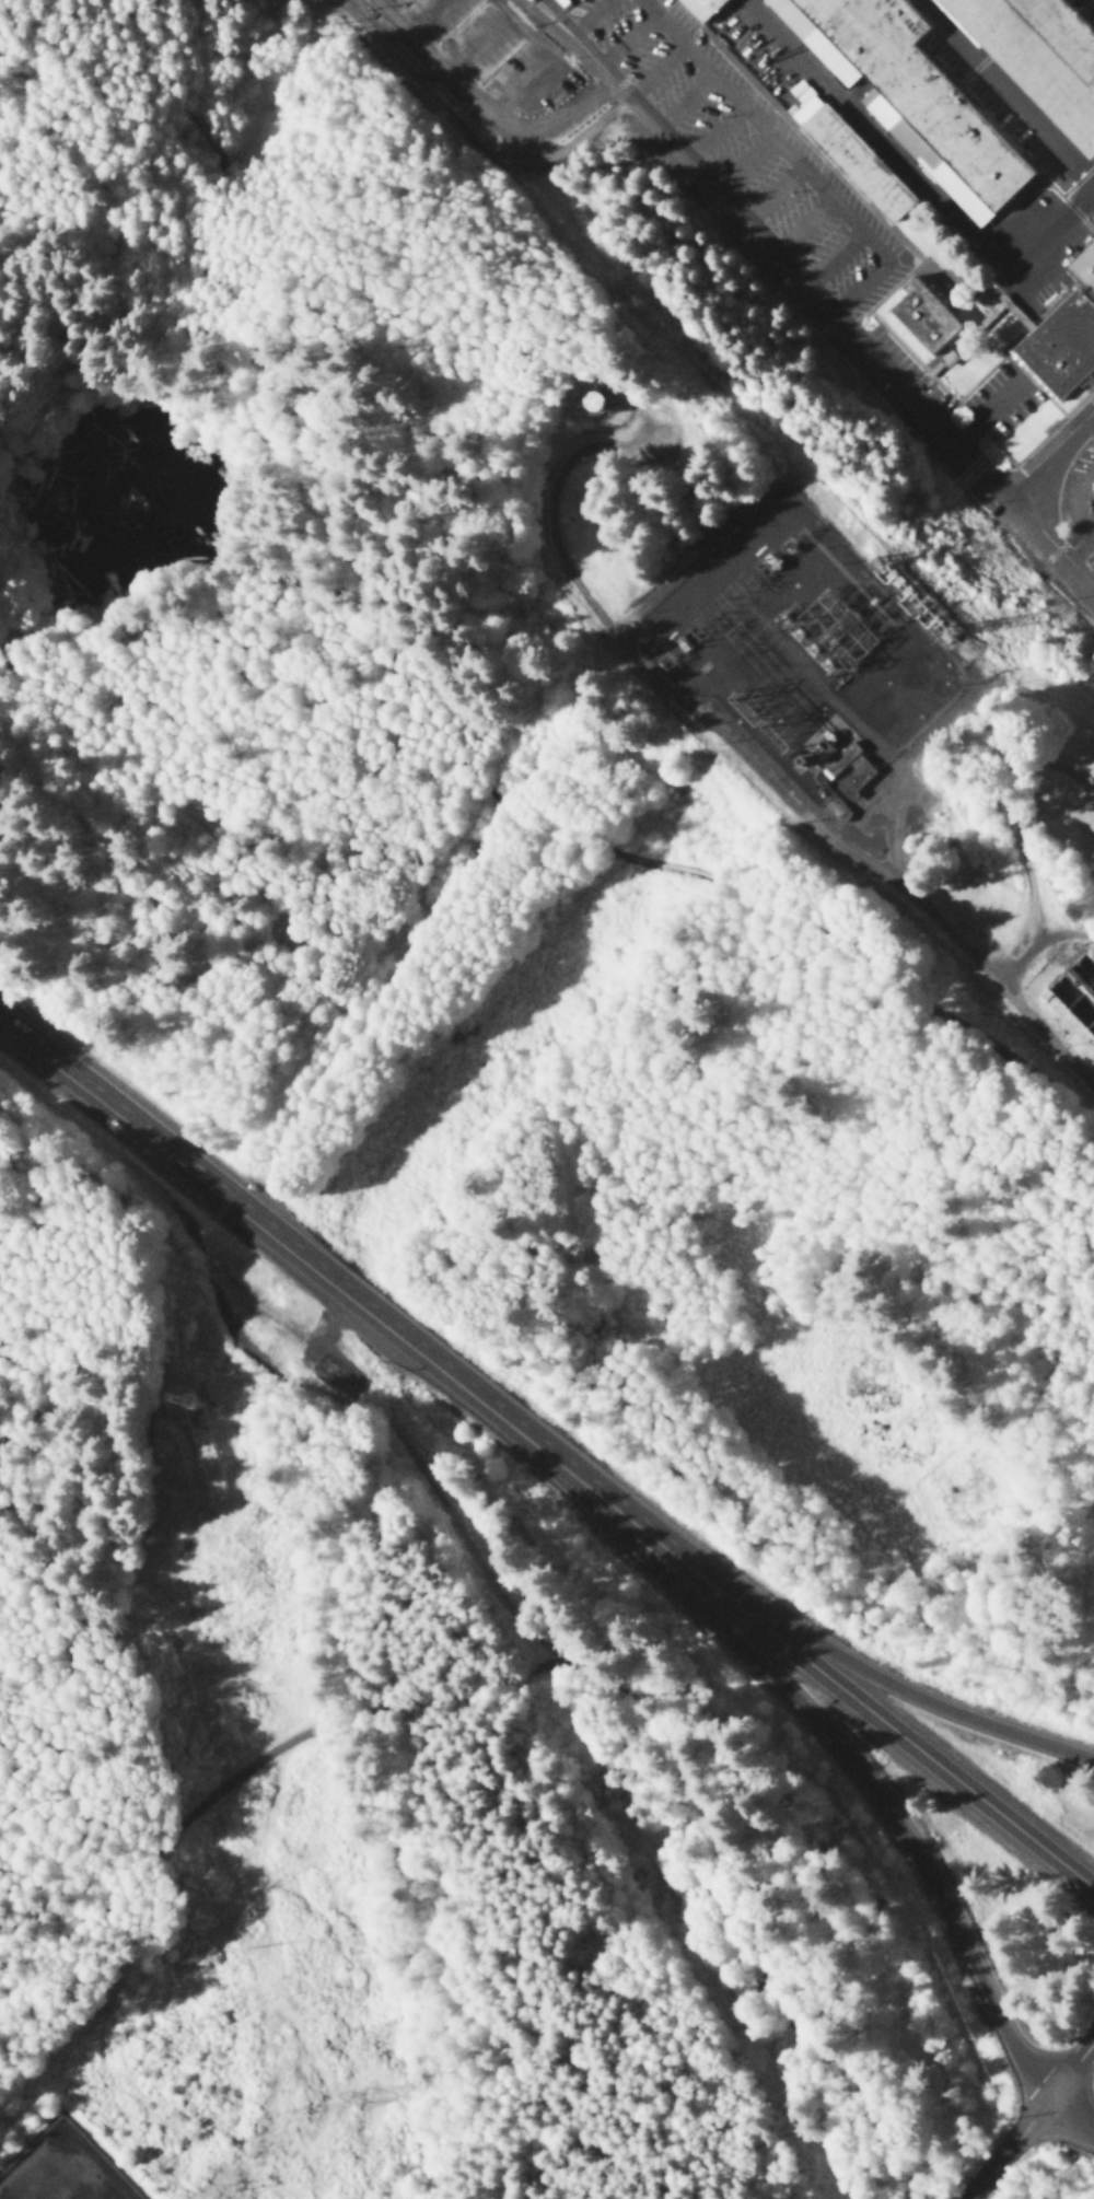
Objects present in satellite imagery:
building: (560, 2)
building: (703, 9)
building: (999, 18)
road: (1012, 86)
building: (912, 98)
building: (852, 160)
road: (811, 298)
building: (928, 319)
building: (1064, 337)
building: (609, 402)
road: (1047, 454)
power substation: (808, 642)
building: (858, 781)
building: (1075, 999)
road: (270, 1245)
power tower: (199, 1406)
road: (648, 1532)
road: (912, 1697)
road: (655, 1727)
road: (919, 1747)
road: (838, 1749)
power tower: (362, 2103)
road: (1070, 2117)
road: (1032, 2120)
power substation: (61, 2171)

